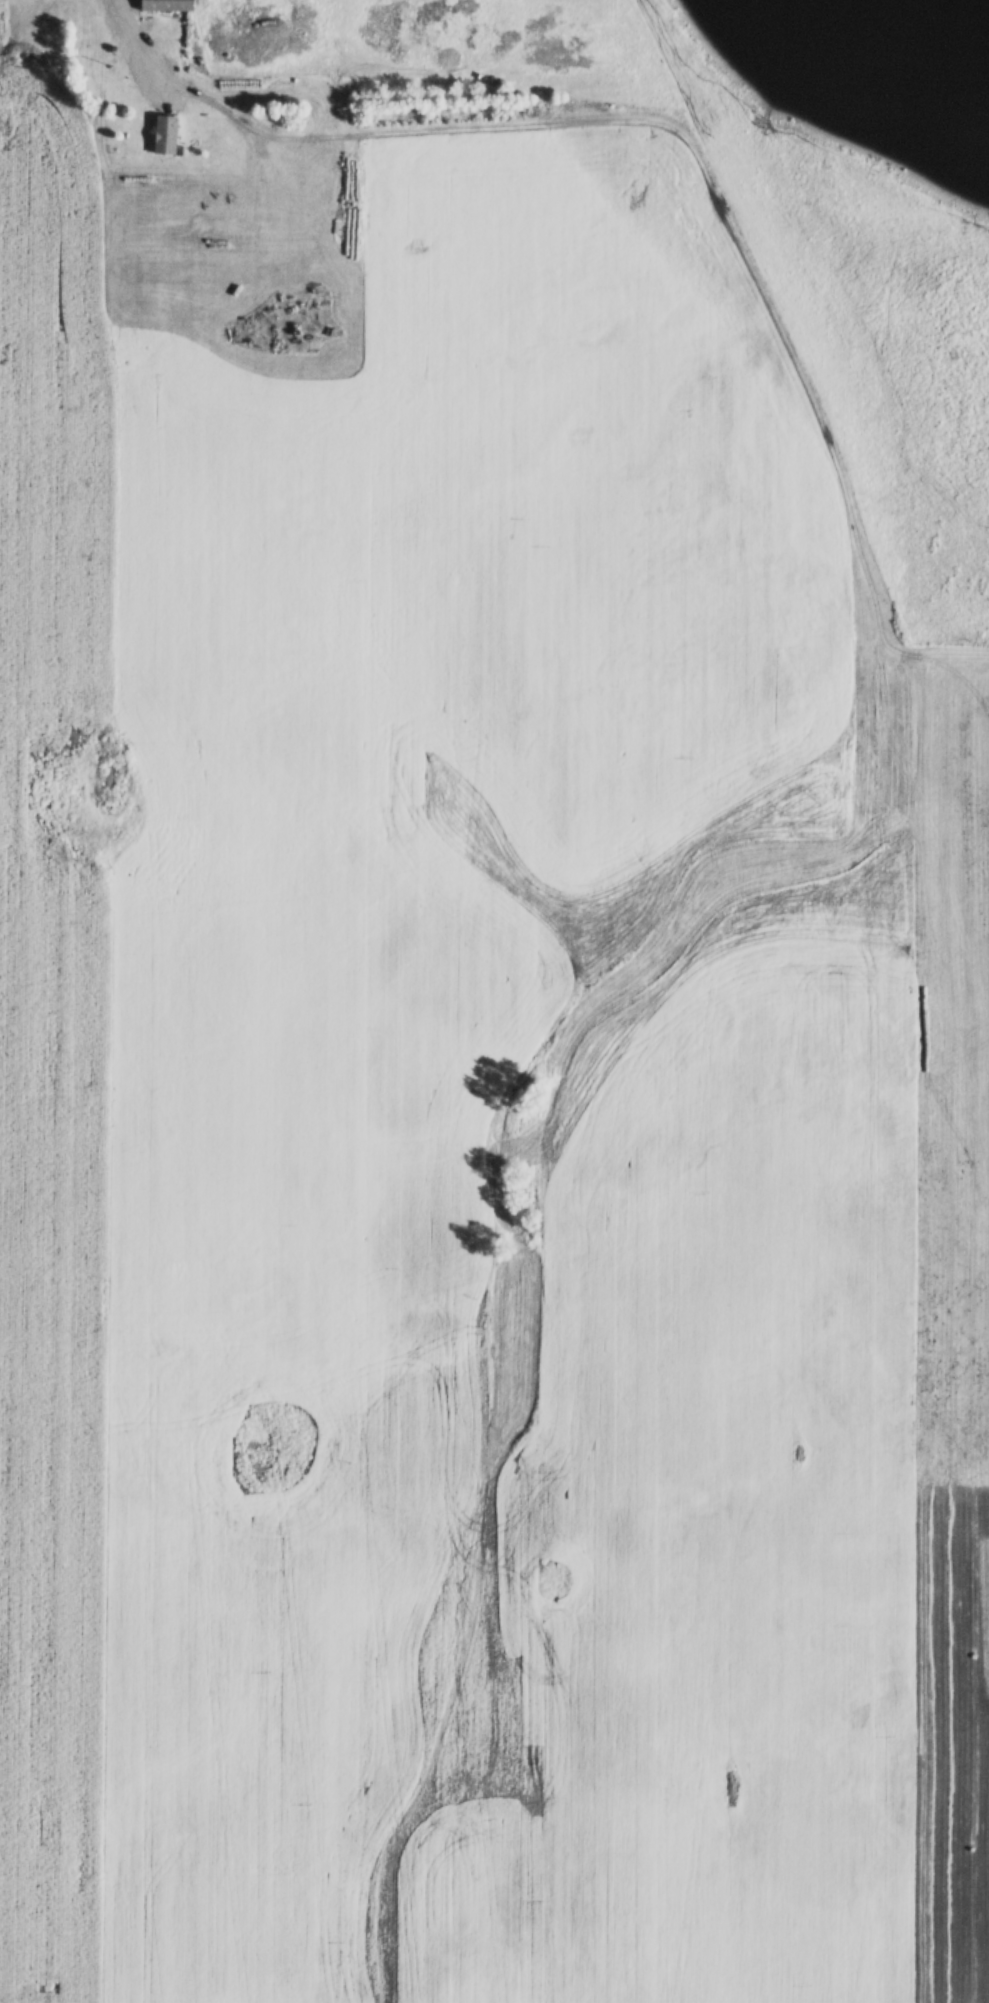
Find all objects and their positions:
building: (165, 6)
building: (165, 136)
building: (716, 1408)

